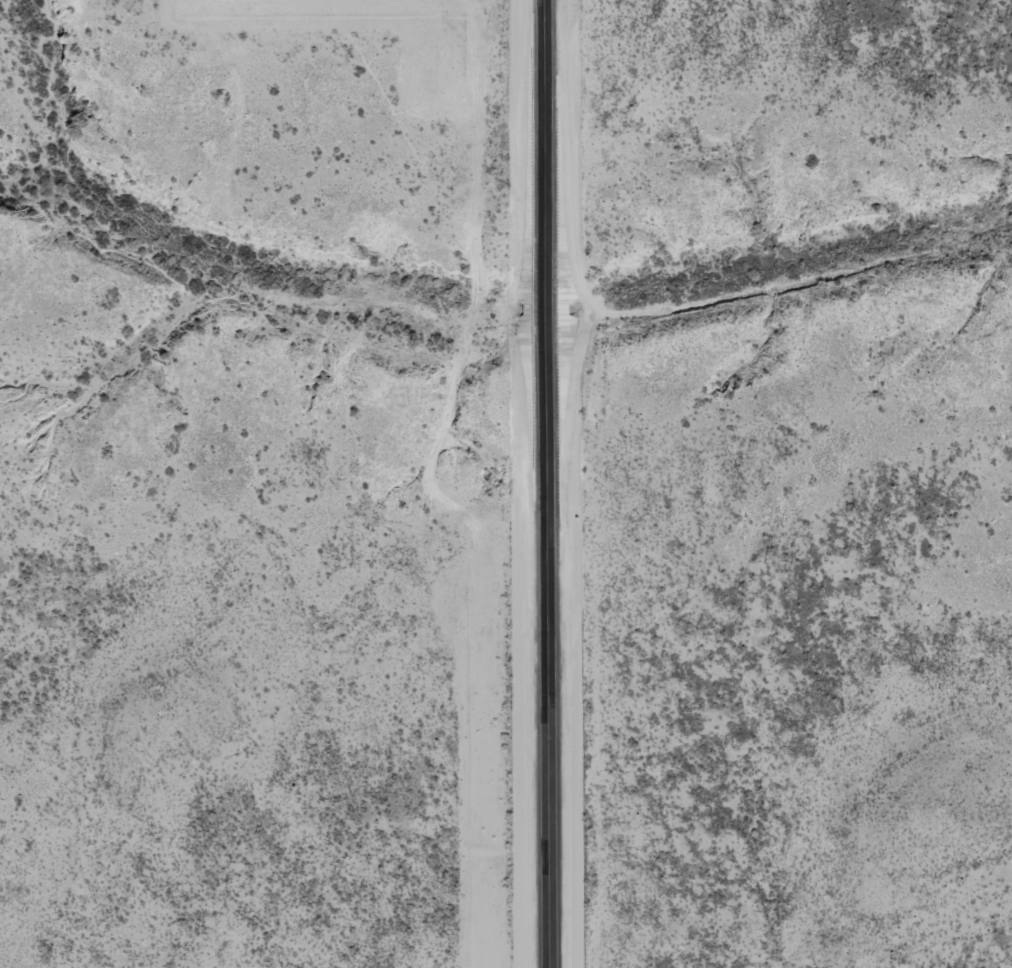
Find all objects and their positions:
road: (551, 484)

